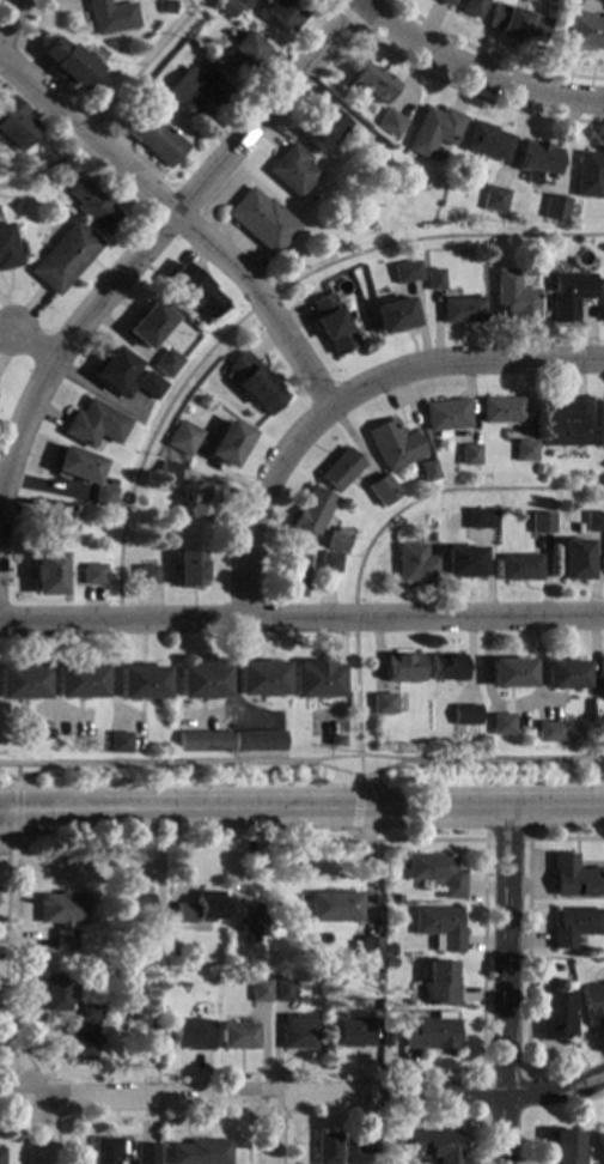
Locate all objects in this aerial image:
building: (446, 2)
road: (188, 4)
building: (243, 4)
road: (330, 4)
building: (472, 7)
building: (227, 8)
building: (283, 12)
road: (6, 17)
building: (109, 17)
road: (346, 18)
building: (517, 24)
building: (584, 32)
building: (242, 55)
road: (493, 55)
building: (67, 63)
road: (472, 68)
building: (372, 84)
building: (197, 92)
road: (472, 96)
road: (109, 105)
road: (267, 107)
building: (390, 125)
building: (16, 126)
building: (322, 129)
building: (434, 132)
building: (154, 140)
building: (488, 143)
building: (538, 163)
building: (292, 171)
building: (590, 175)
building: (496, 199)
building: (94, 207)
building: (555, 210)
building: (261, 222)
building: (7, 249)
building: (63, 259)
building: (405, 273)
building: (433, 281)
road: (116, 285)
building: (194, 291)
building: (566, 296)
building: (512, 298)
building: (602, 301)
road: (257, 303)
building: (460, 310)
building: (392, 316)
road: (275, 323)
building: (148, 325)
building: (331, 326)
building: (166, 364)
building: (114, 374)
building: (255, 384)
building: (151, 386)
road: (38, 406)
building: (501, 411)
building: (445, 416)
building: (565, 424)
building: (92, 425)
building: (177, 425)
building: (598, 425)
building: (185, 441)
building: (228, 444)
building: (393, 445)
building: (524, 451)
building: (468, 455)
building: (74, 467)
building: (340, 471)
building: (427, 472)
building: (167, 474)
road: (446, 490)
building: (382, 491)
building: (103, 496)
road: (258, 502)
building: (197, 503)
building: (312, 511)
building: (481, 520)
building: (593, 522)
building: (542, 523)
building: (53, 525)
building: (429, 538)
building: (337, 540)
building: (574, 560)
building: (330, 563)
building: (463, 563)
building: (415, 564)
building: (520, 569)
building: (190, 570)
building: (47, 575)
building: (92, 575)
building: (146, 576)
building: (293, 576)
road: (355, 617)
road: (301, 619)
building: (403, 668)
building: (600, 668)
building: (447, 669)
building: (511, 674)
building: (565, 675)
building: (261, 679)
building: (317, 680)
building: (22, 681)
building: (79, 681)
building: (202, 681)
building: (141, 683)
building: (384, 705)
road: (356, 709)
building: (602, 713)
building: (466, 716)
building: (502, 725)
building: (550, 733)
building: (596, 739)
building: (258, 741)
building: (337, 741)
building: (203, 742)
building: (118, 744)
road: (301, 764)
road: (16, 772)
road: (25, 777)
road: (362, 777)
road: (17, 784)
road: (358, 807)
road: (301, 811)
road: (16, 813)
road: (507, 839)
road: (8, 842)
building: (435, 872)
building: (574, 877)
building: (130, 905)
building: (335, 905)
building: (199, 908)
building: (61, 915)
road: (527, 917)
building: (249, 921)
building: (574, 924)
building: (439, 927)
building: (153, 941)
building: (370, 948)
building: (171, 952)
building: (89, 959)
building: (234, 959)
building: (338, 981)
building: (439, 983)
road: (506, 986)
building: (261, 989)
building: (281, 989)
building: (55, 993)
building: (592, 1002)
building: (89, 1012)
building: (554, 1014)
building: (297, 1031)
building: (191, 1032)
building: (353, 1032)
building: (431, 1033)
building: (238, 1035)
building: (150, 1038)
building: (81, 1041)
road: (504, 1071)
road: (331, 1072)
road: (30, 1091)
road: (303, 1096)
road: (63, 1116)
road: (270, 1116)
road: (310, 1116)
road: (157, 1117)
road: (269, 1130)
road: (22, 1132)
building: (362, 1142)
building: (432, 1145)
building: (563, 1146)
building: (325, 1147)
building: (105, 1150)
building: (200, 1152)
building: (145, 1153)
building: (0, 1154)

